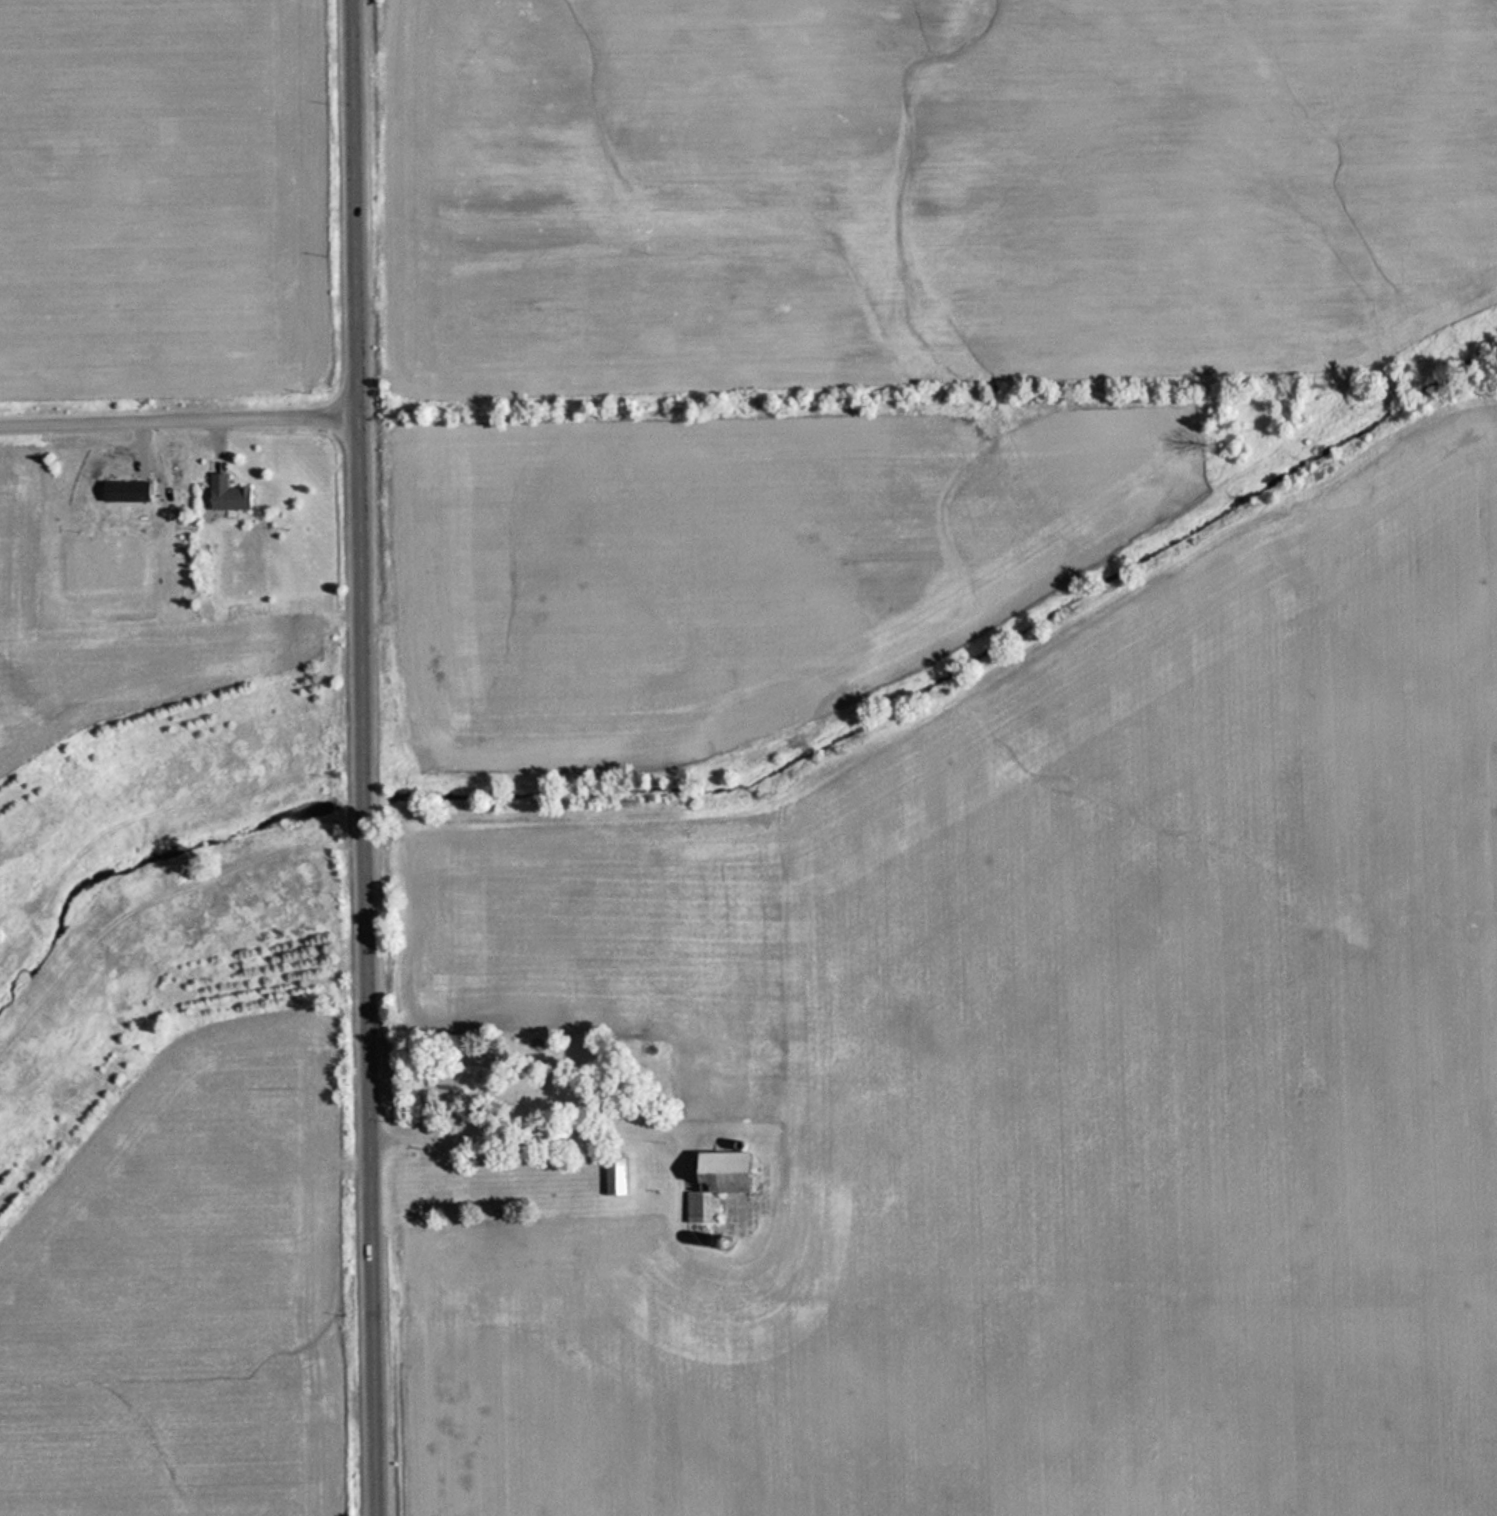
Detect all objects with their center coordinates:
road: (179, 409)
building: (223, 493)
road: (361, 758)
building: (613, 1175)
building: (711, 1182)

